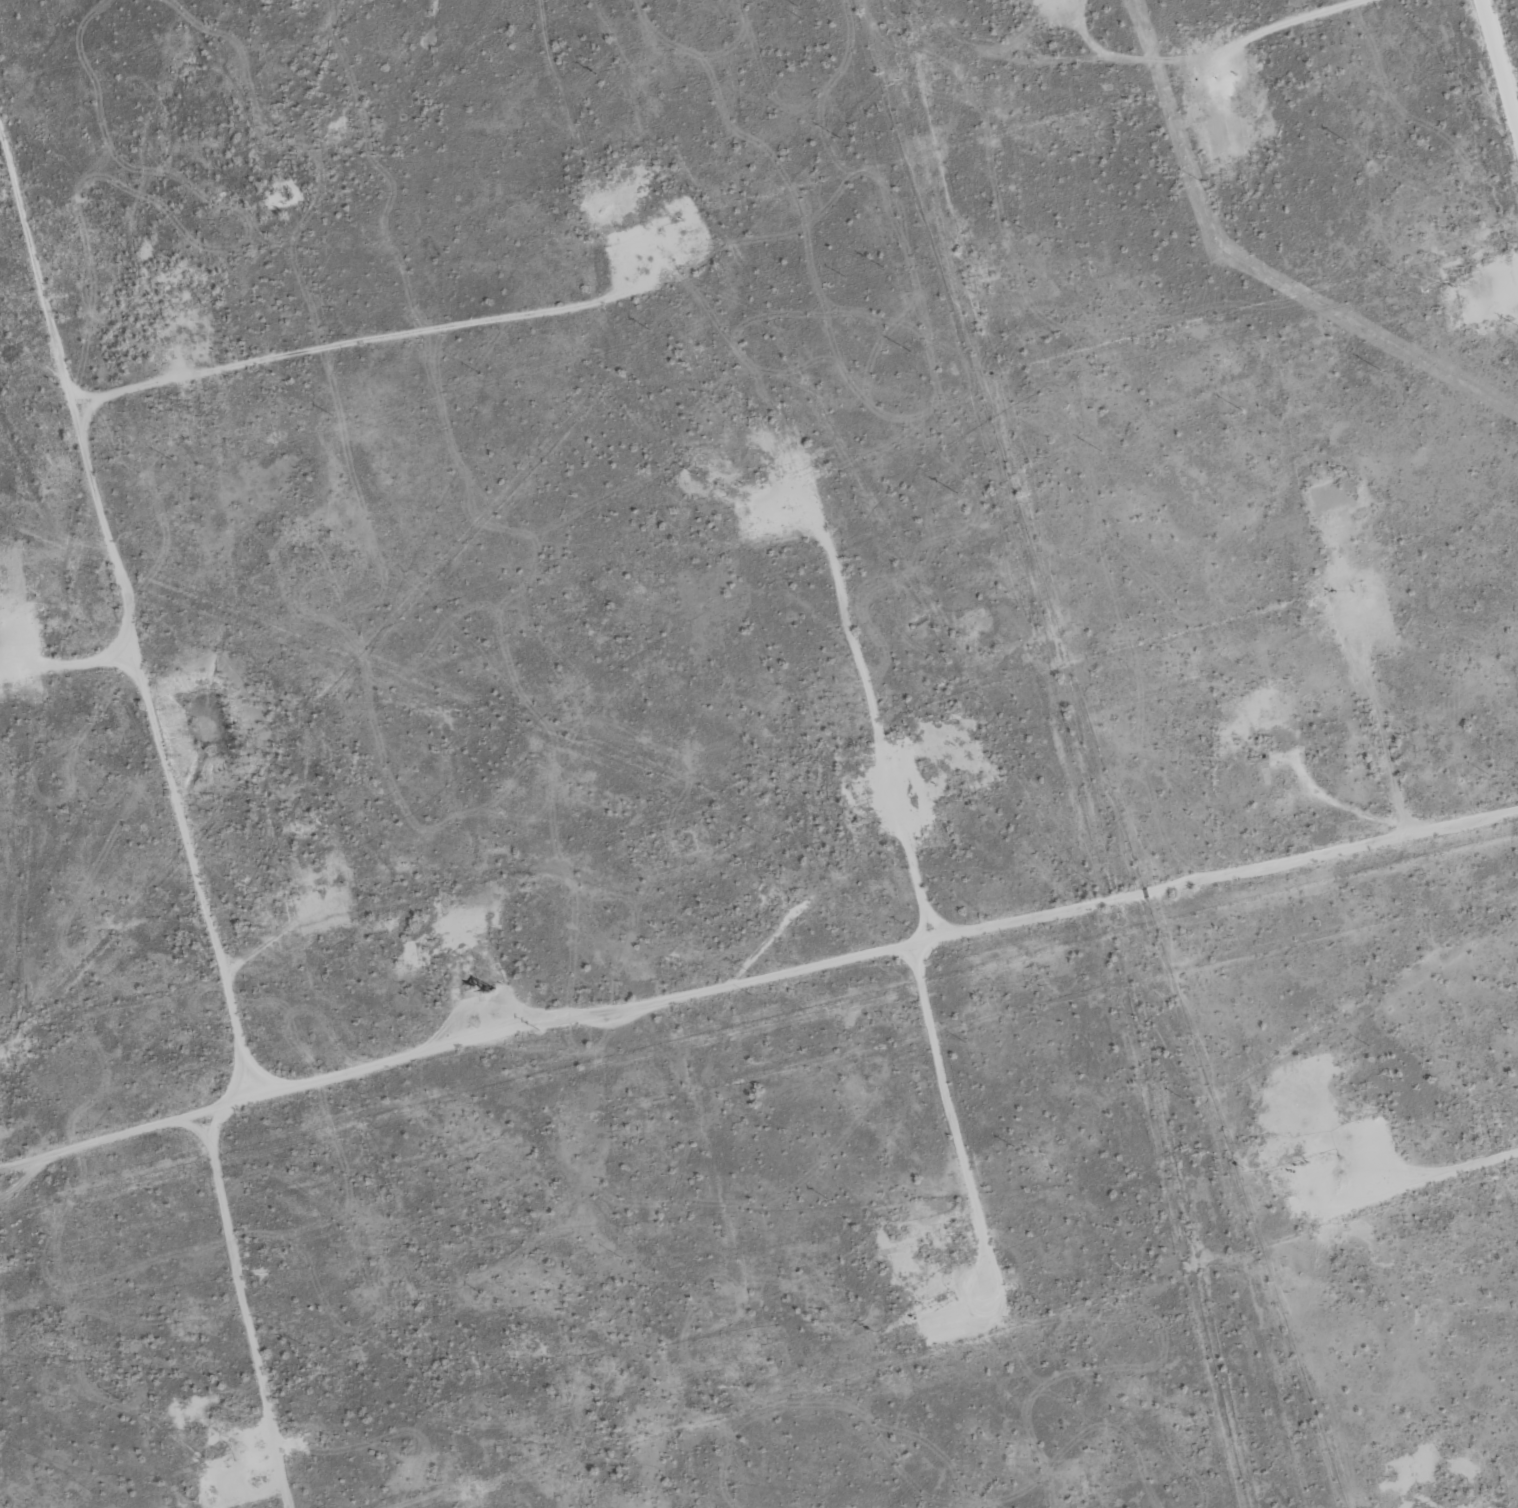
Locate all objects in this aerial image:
road: (1506, 44)

